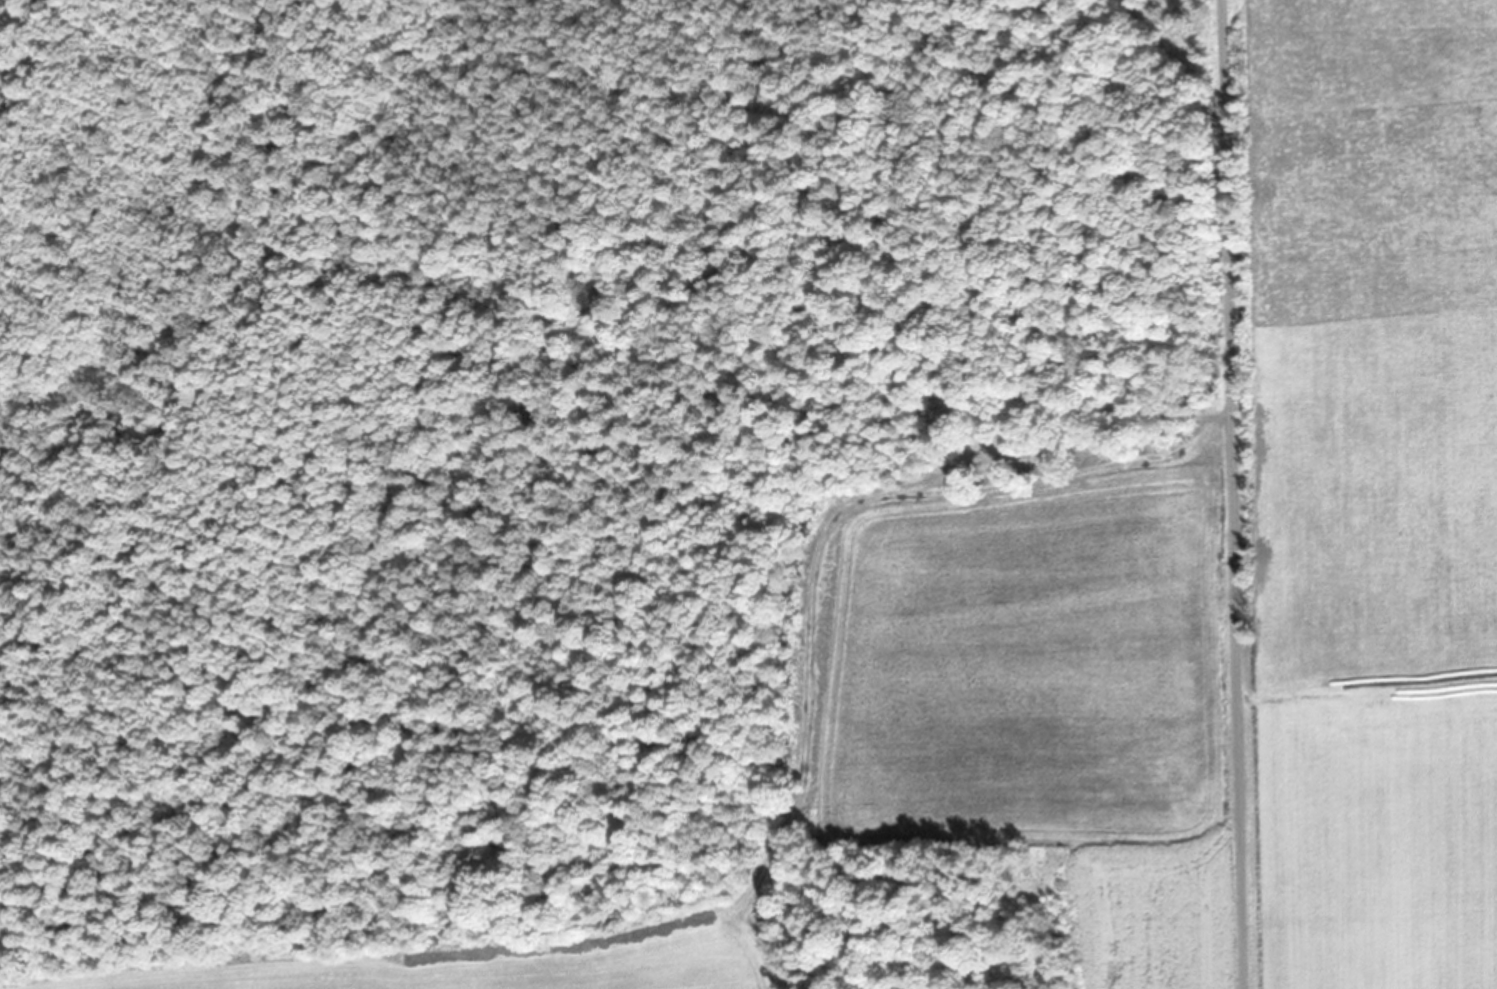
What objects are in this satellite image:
building: (951, 417)
road: (1235, 494)
crop: (461, 957)

